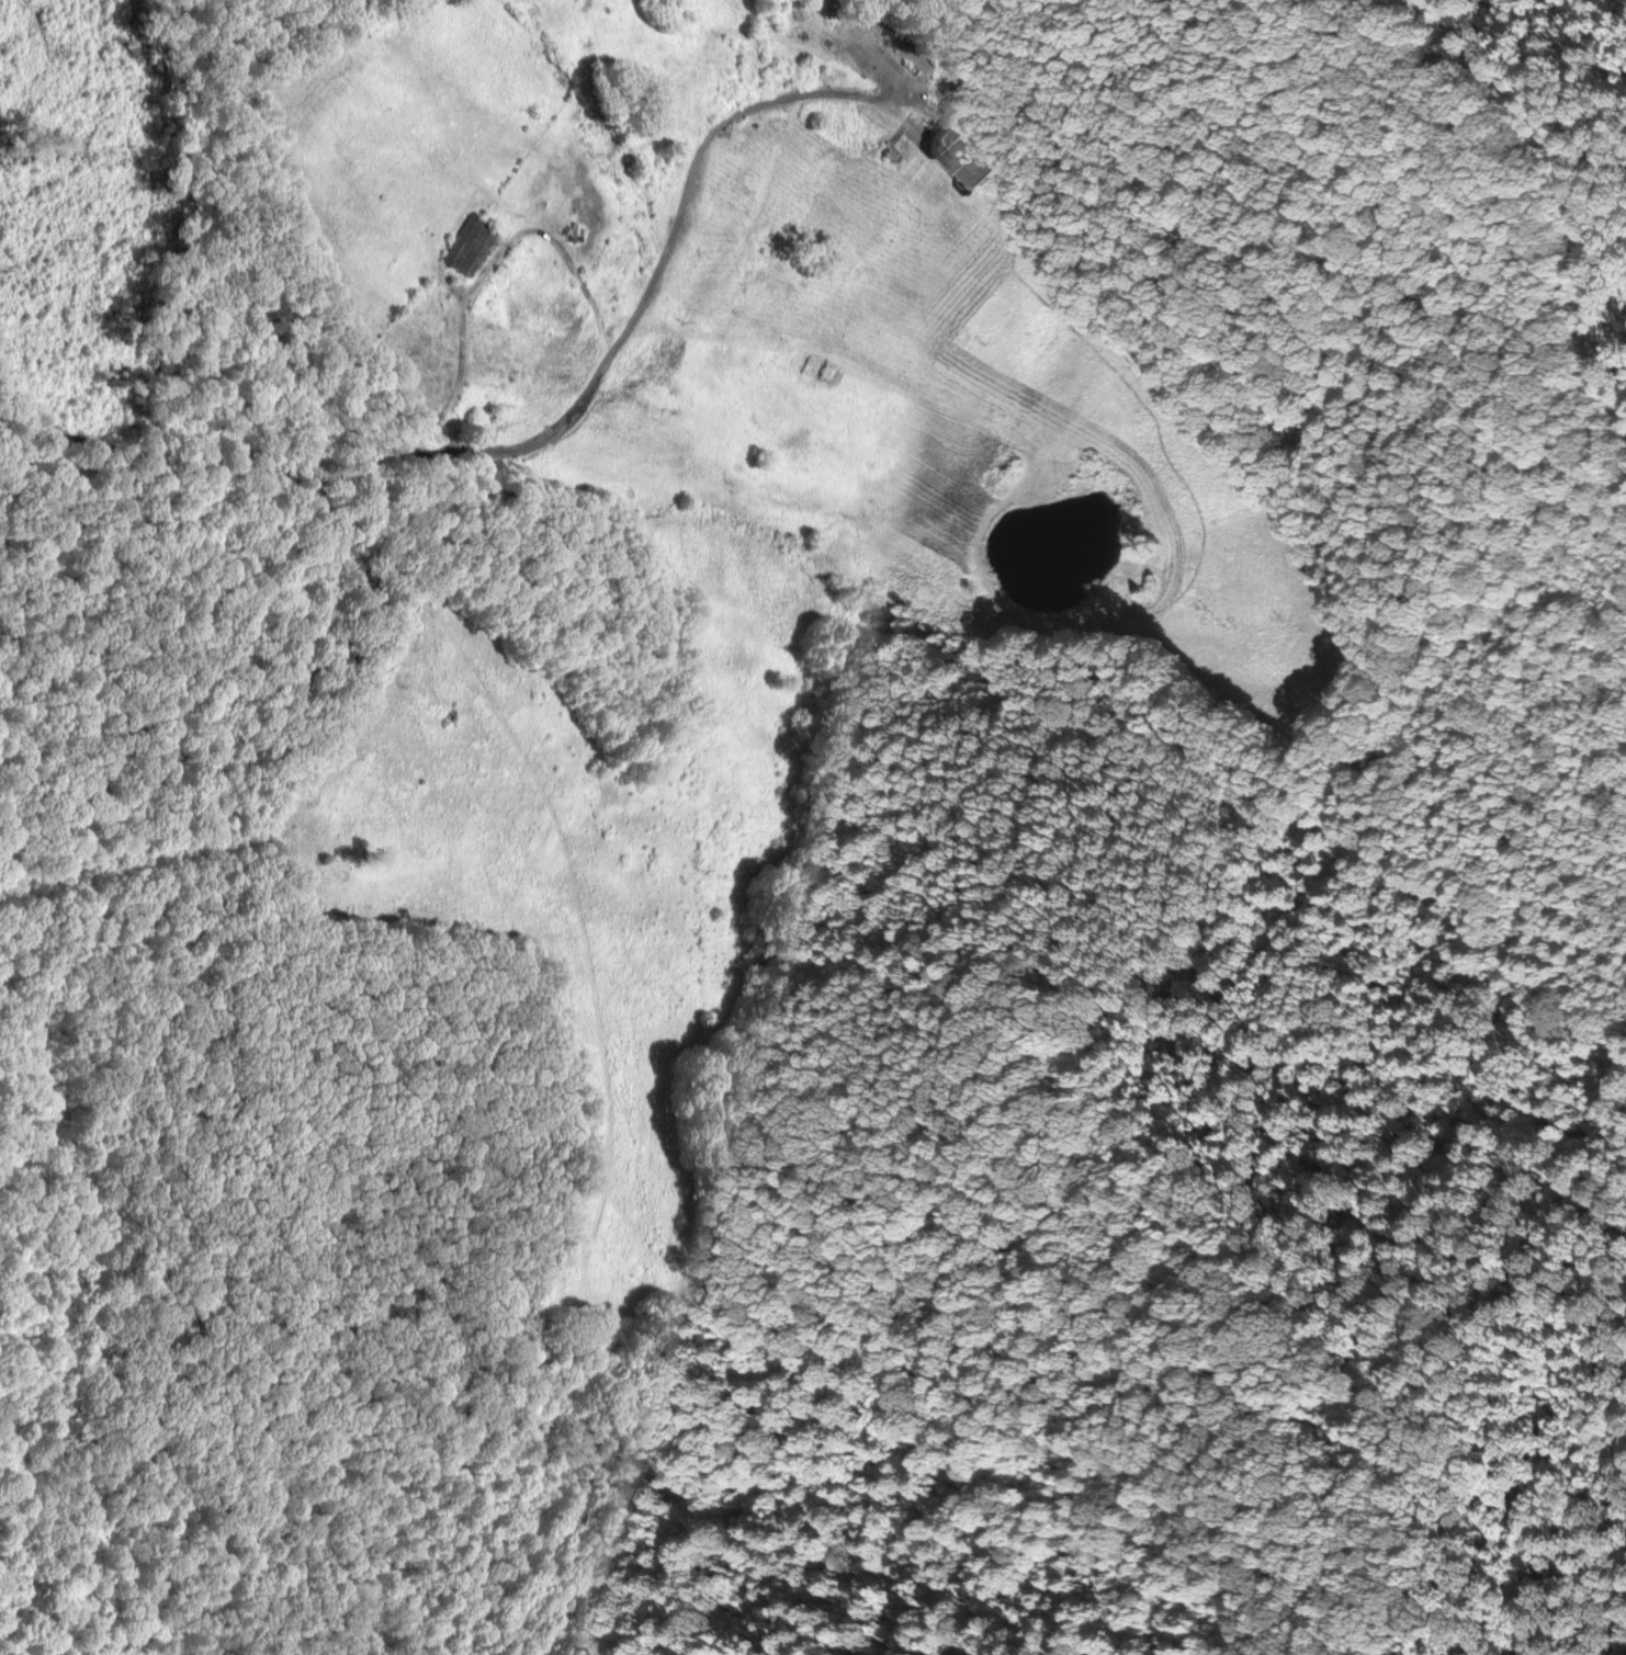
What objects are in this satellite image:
building: (957, 150)
building: (467, 245)
road: (668, 254)
road: (296, 509)
road: (566, 1648)

